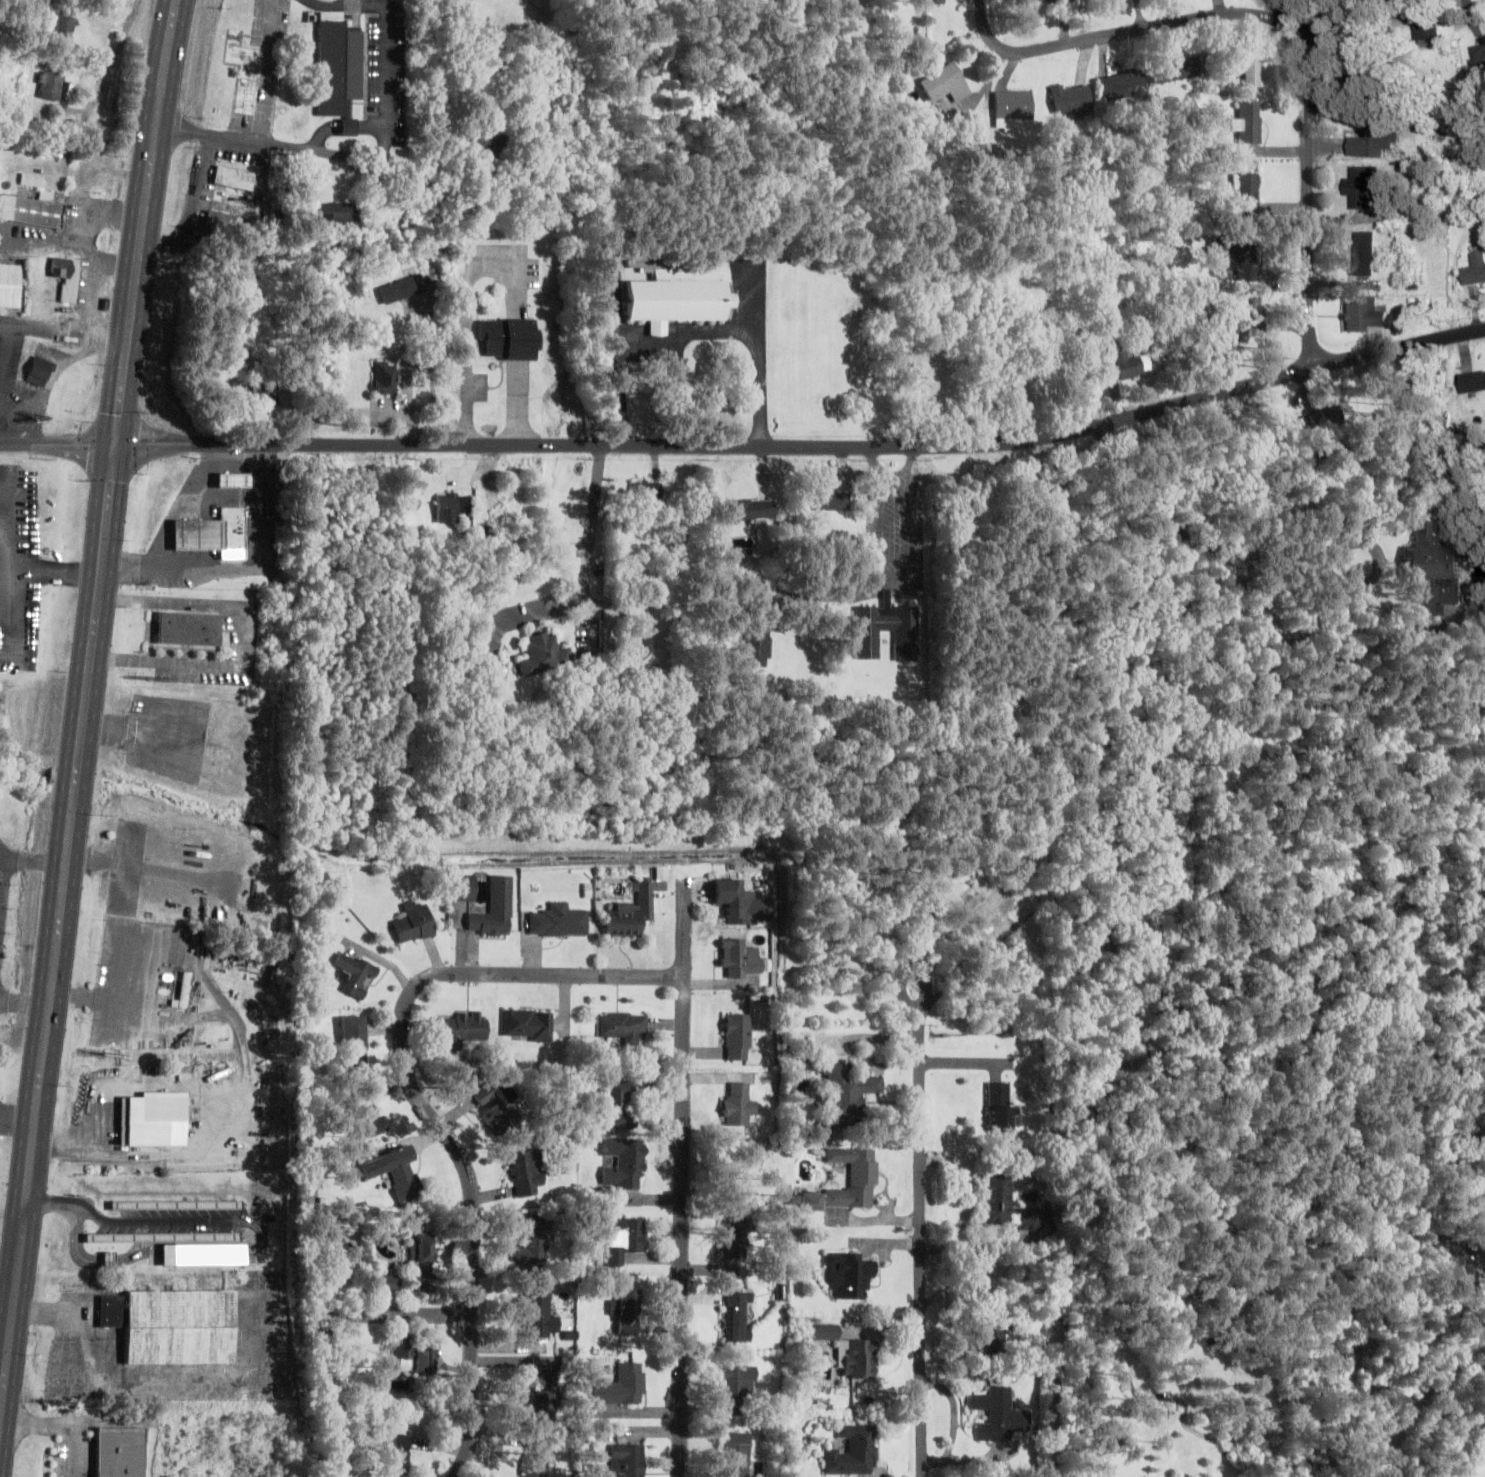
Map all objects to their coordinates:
building: (1049, 0)
building: (931, 1)
building: (68, 22)
building: (1426, 24)
road: (1133, 32)
building: (1478, 58)
building: (338, 67)
building: (1249, 67)
building: (1176, 69)
building: (1367, 72)
road: (106, 79)
building: (944, 83)
building: (1125, 85)
building: (52, 86)
building: (1074, 99)
building: (1011, 108)
building: (1248, 122)
building: (349, 126)
building: (1372, 138)
building: (980, 149)
road: (298, 150)
road: (1309, 170)
building: (234, 178)
building: (33, 180)
building: (1361, 185)
building: (1249, 193)
building: (32, 210)
building: (339, 212)
building: (216, 221)
building: (1364, 253)
building: (1239, 258)
building: (1474, 268)
building: (70, 278)
building: (10, 284)
building: (402, 289)
building: (674, 296)
building: (1363, 313)
building: (1237, 326)
building: (507, 338)
building: (1126, 362)
building: (40, 371)
building: (385, 377)
building: (1472, 381)
building: (280, 395)
building: (1327, 419)
traffic signals: (115, 444)
road: (749, 447)
building: (647, 490)
building: (831, 501)
building: (452, 506)
building: (752, 509)
building: (211, 531)
road: (1192, 536)
building: (1434, 572)
building: (229, 573)
building: (189, 628)
building: (906, 641)
building: (641, 645)
building: (756, 647)
building: (544, 654)
road: (84, 713)
building: (214, 756)
building: (463, 887)
building: (731, 895)
building: (495, 909)
building: (995, 912)
building: (631, 913)
building: (559, 921)
building: (414, 923)
building: (741, 960)
road: (911, 966)
building: (356, 973)
building: (185, 989)
building: (527, 1024)
building: (623, 1026)
building: (464, 1028)
building: (738, 1036)
building: (354, 1041)
building: (846, 1091)
road: (422, 1102)
building: (623, 1104)
building: (490, 1105)
building: (739, 1105)
building: (1001, 1107)
building: (368, 1115)
building: (154, 1119)
building: (743, 1161)
building: (622, 1163)
building: (395, 1171)
building: (527, 1172)
road: (683, 1178)
building: (854, 1178)
building: (998, 1199)
building: (176, 1205)
building: (148, 1237)
building: (736, 1237)
building: (624, 1238)
building: (532, 1240)
road: (922, 1247)
building: (203, 1254)
building: (107, 1259)
building: (422, 1262)
building: (849, 1274)
building: (386, 1282)
building: (112, 1310)
building: (628, 1311)
road: (398, 1314)
building: (538, 1315)
building: (738, 1316)
building: (992, 1322)
building: (179, 1326)
building: (849, 1351)
building: (417, 1360)
building: (623, 1385)
building: (734, 1390)
building: (546, 1397)
building: (999, 1415)
building: (852, 1451)
building: (120, 1452)
building: (397, 1453)
building: (735, 1454)
building: (627, 1460)
building: (533, 1465)

